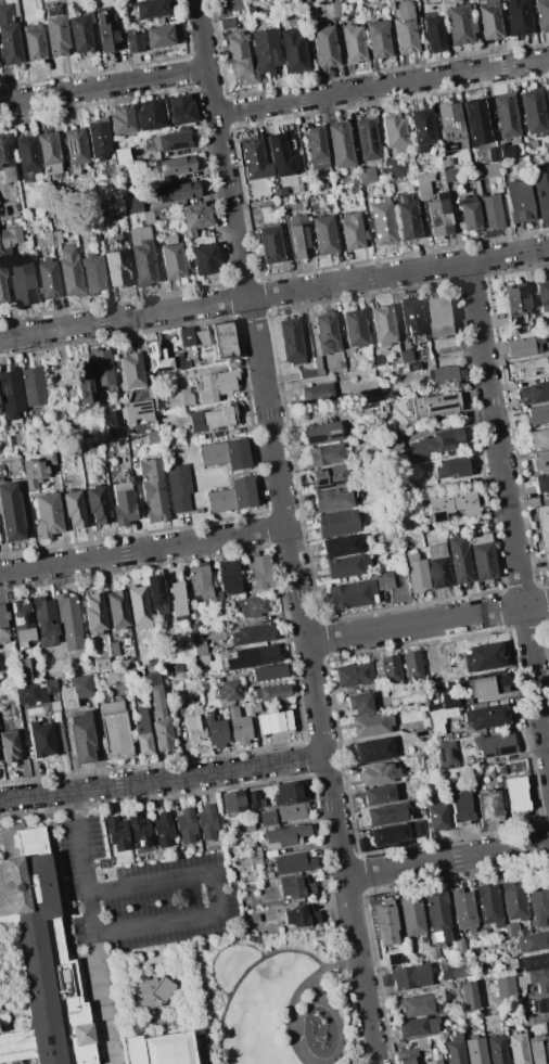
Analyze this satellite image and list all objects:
building: (394, 0)
building: (423, 1)
building: (293, 3)
building: (439, 4)
building: (150, 9)
building: (251, 10)
building: (301, 13)
building: (541, 14)
building: (518, 17)
building: (488, 18)
building: (227, 24)
building: (459, 24)
building: (105, 29)
building: (405, 29)
building: (55, 31)
building: (81, 33)
building: (433, 34)
building: (9, 37)
building: (158, 37)
building: (379, 39)
building: (132, 41)
building: (34, 43)
building: (353, 44)
building: (324, 47)
building: (265, 50)
building: (294, 51)
building: (240, 59)
road: (103, 86)
road: (382, 89)
building: (547, 98)
building: (180, 110)
building: (534, 113)
building: (149, 115)
building: (506, 116)
building: (122, 119)
building: (449, 120)
building: (475, 121)
building: (422, 131)
building: (394, 133)
building: (99, 138)
building: (169, 141)
building: (367, 141)
building: (341, 144)
building: (75, 146)
building: (317, 148)
building: (49, 152)
building: (278, 153)
building: (493, 154)
building: (27, 156)
building: (122, 156)
building: (255, 157)
building: (447, 159)
building: (175, 165)
building: (295, 168)
building: (391, 169)
building: (493, 170)
building: (366, 176)
building: (450, 176)
building: (8, 181)
building: (423, 185)
building: (301, 188)
building: (353, 190)
building: (176, 191)
building: (541, 192)
building: (328, 198)
building: (518, 202)
building: (282, 203)
building: (132, 206)
building: (490, 211)
building: (469, 214)
building: (102, 216)
building: (148, 217)
building: (407, 218)
building: (438, 218)
building: (195, 219)
building: (383, 221)
building: (352, 231)
building: (323, 234)
building: (299, 235)
building: (55, 236)
building: (97, 236)
building: (47, 238)
building: (9, 241)
building: (271, 243)
building: (142, 256)
building: (204, 258)
building: (173, 259)
building: (117, 268)
building: (69, 272)
building: (93, 274)
building: (48, 279)
building: (23, 285)
building: (2, 287)
road: (274, 292)
building: (541, 296)
building: (514, 298)
building: (438, 317)
building: (411, 320)
building: (383, 324)
building: (355, 329)
building: (327, 333)
building: (186, 336)
building: (201, 338)
building: (224, 339)
building: (291, 341)
building: (524, 347)
building: (156, 359)
building: (376, 359)
building: (179, 361)
building: (317, 364)
building: (413, 367)
building: (103, 368)
building: (532, 368)
building: (131, 371)
building: (445, 376)
building: (86, 384)
building: (216, 385)
building: (33, 386)
building: (10, 389)
building: (316, 392)
building: (535, 393)
building: (180, 398)
building: (435, 405)
building: (137, 412)
building: (537, 414)
building: (213, 419)
building: (112, 421)
building: (322, 434)
building: (86, 437)
building: (539, 438)
building: (152, 440)
building: (394, 441)
building: (435, 444)
building: (225, 453)
building: (327, 454)
building: (540, 461)
building: (454, 467)
building: (38, 469)
building: (330, 477)
building: (541, 483)
building: (179, 487)
building: (154, 488)
building: (232, 496)
building: (333, 500)
building: (123, 502)
road: (509, 503)
building: (97, 505)
building: (451, 507)
building: (74, 509)
building: (11, 513)
building: (47, 514)
building: (337, 523)
building: (542, 526)
road: (288, 531)
building: (342, 546)
road: (143, 550)
building: (482, 557)
building: (347, 565)
building: (437, 566)
building: (460, 567)
building: (260, 571)
building: (417, 574)
building: (229, 576)
building: (203, 584)
building: (358, 591)
building: (156, 593)
building: (177, 601)
building: (251, 606)
building: (138, 607)
building: (117, 610)
building: (94, 614)
building: (44, 621)
building: (67, 621)
building: (22, 624)
building: (4, 626)
road: (427, 626)
building: (194, 627)
building: (253, 633)
building: (195, 636)
building: (170, 643)
building: (199, 646)
building: (114, 649)
building: (255, 656)
building: (484, 657)
building: (204, 658)
building: (102, 664)
building: (412, 665)
building: (177, 669)
building: (387, 669)
building: (166, 671)
building: (268, 672)
building: (353, 675)
building: (115, 678)
building: (500, 681)
building: (31, 688)
building: (75, 690)
building: (229, 691)
building: (271, 692)
building: (449, 701)
building: (360, 704)
building: (54, 706)
building: (158, 715)
building: (56, 717)
building: (486, 717)
building: (272, 722)
building: (195, 723)
building: (371, 725)
building: (239, 727)
building: (436, 727)
building: (115, 730)
building: (214, 730)
building: (143, 734)
road: (372, 736)
building: (81, 738)
building: (42, 741)
building: (495, 745)
building: (9, 746)
building: (373, 751)
building: (448, 755)
building: (474, 772)
road: (197, 773)
building: (378, 774)
building: (290, 793)
building: (516, 793)
building: (379, 794)
road: (36, 795)
building: (255, 800)
building: (232, 802)
building: (489, 804)
building: (460, 806)
building: (281, 815)
building: (382, 815)
building: (436, 817)
building: (207, 822)
building: (186, 826)
building: (244, 826)
building: (139, 831)
building: (164, 831)
building: (117, 833)
building: (384, 835)
building: (285, 836)
road: (80, 841)
building: (254, 856)
road: (447, 861)
building: (293, 863)
road: (170, 879)
building: (296, 887)
parking lot: (136, 897)
building: (513, 897)
building: (538, 901)
building: (489, 906)
building: (462, 909)
building: (301, 915)
building: (411, 915)
building: (438, 916)
building: (386, 923)
road: (135, 928)
building: (510, 930)
building: (533, 943)
building: (460, 947)
road: (285, 950)
road: (218, 951)
building: (433, 951)
building: (393, 959)
building: (533, 961)
building: (40, 962)
building: (454, 962)
building: (410, 977)
building: (539, 979)
building: (508, 985)
building: (155, 995)
building: (469, 995)
road: (294, 997)
park: (273, 999)
road: (309, 1002)
building: (416, 1005)
building: (539, 1005)
building: (533, 1021)
building: (548, 1024)
building: (416, 1027)
building: (421, 1042)
building: (519, 1048)
building: (455, 1049)
building: (539, 1049)
building: (162, 1050)
building: (497, 1050)
building: (475, 1051)
building: (407, 1056)
building: (434, 1059)

